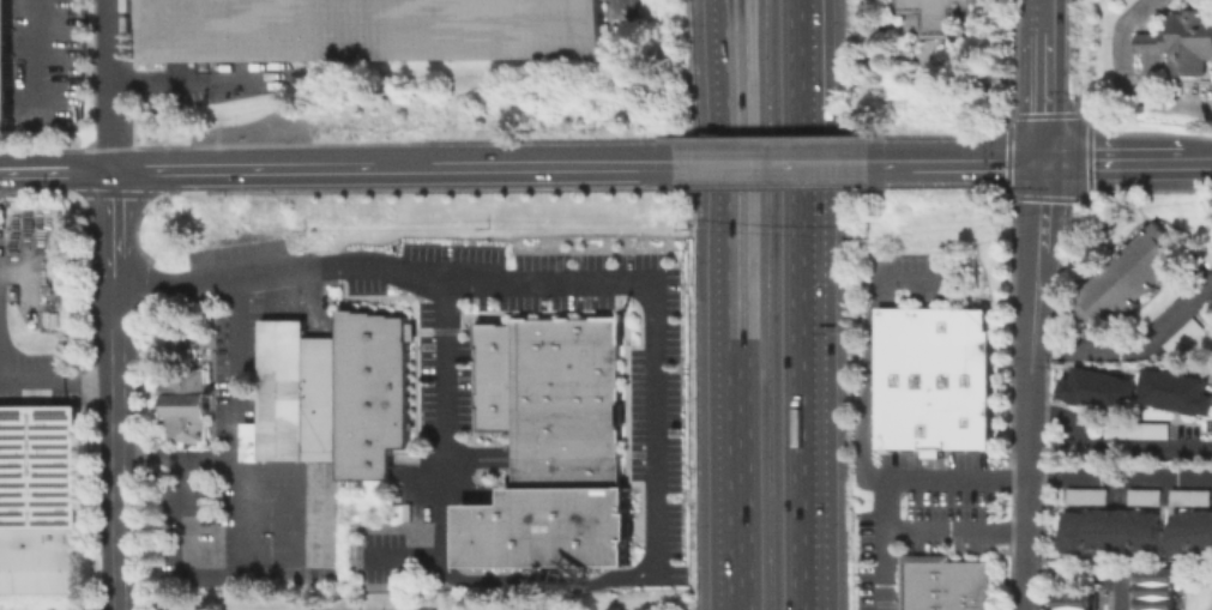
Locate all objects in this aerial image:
road: (726, 13)
road: (730, 13)
building: (933, 13)
road: (1050, 14)
road: (1147, 19)
road: (617, 23)
building: (373, 30)
building: (1181, 41)
road: (1150, 42)
road: (48, 55)
building: (7, 62)
road: (1148, 76)
road: (1126, 80)
road: (115, 84)
road: (158, 86)
road: (1049, 97)
road: (803, 104)
road: (1195, 164)
road: (831, 165)
road: (959, 165)
traffic signals: (1047, 165)
road: (1112, 165)
road: (524, 167)
road: (731, 167)
road: (246, 168)
road: (58, 170)
building: (1208, 256)
road: (25, 264)
road: (634, 282)
building: (1127, 282)
building: (1162, 308)
flagpole: (635, 312)
building: (1208, 313)
road: (731, 318)
building: (1183, 340)
road: (1133, 346)
road: (873, 348)
parking lot: (236, 363)
building: (496, 373)
road: (234, 378)
building: (934, 379)
road: (59, 385)
road: (1026, 387)
road: (117, 388)
building: (1095, 388)
building: (372, 391)
building: (1174, 391)
building: (294, 395)
building: (183, 403)
building: (566, 403)
road: (804, 410)
road: (447, 418)
building: (1134, 429)
road: (1112, 445)
road: (175, 460)
road: (471, 463)
road: (1023, 478)
road: (430, 490)
building: (1085, 495)
building: (1142, 496)
building: (1188, 496)
building: (38, 497)
parking lot: (928, 514)
building: (548, 527)
road: (912, 529)
parking lot: (248, 530)
building: (1110, 530)
building: (1189, 531)
road: (187, 544)
road: (408, 556)
road: (299, 573)
building: (1154, 574)
building: (946, 584)
building: (1154, 588)
road: (1121, 591)
building: (1075, 600)
building: (1154, 603)
building: (1075, 609)

